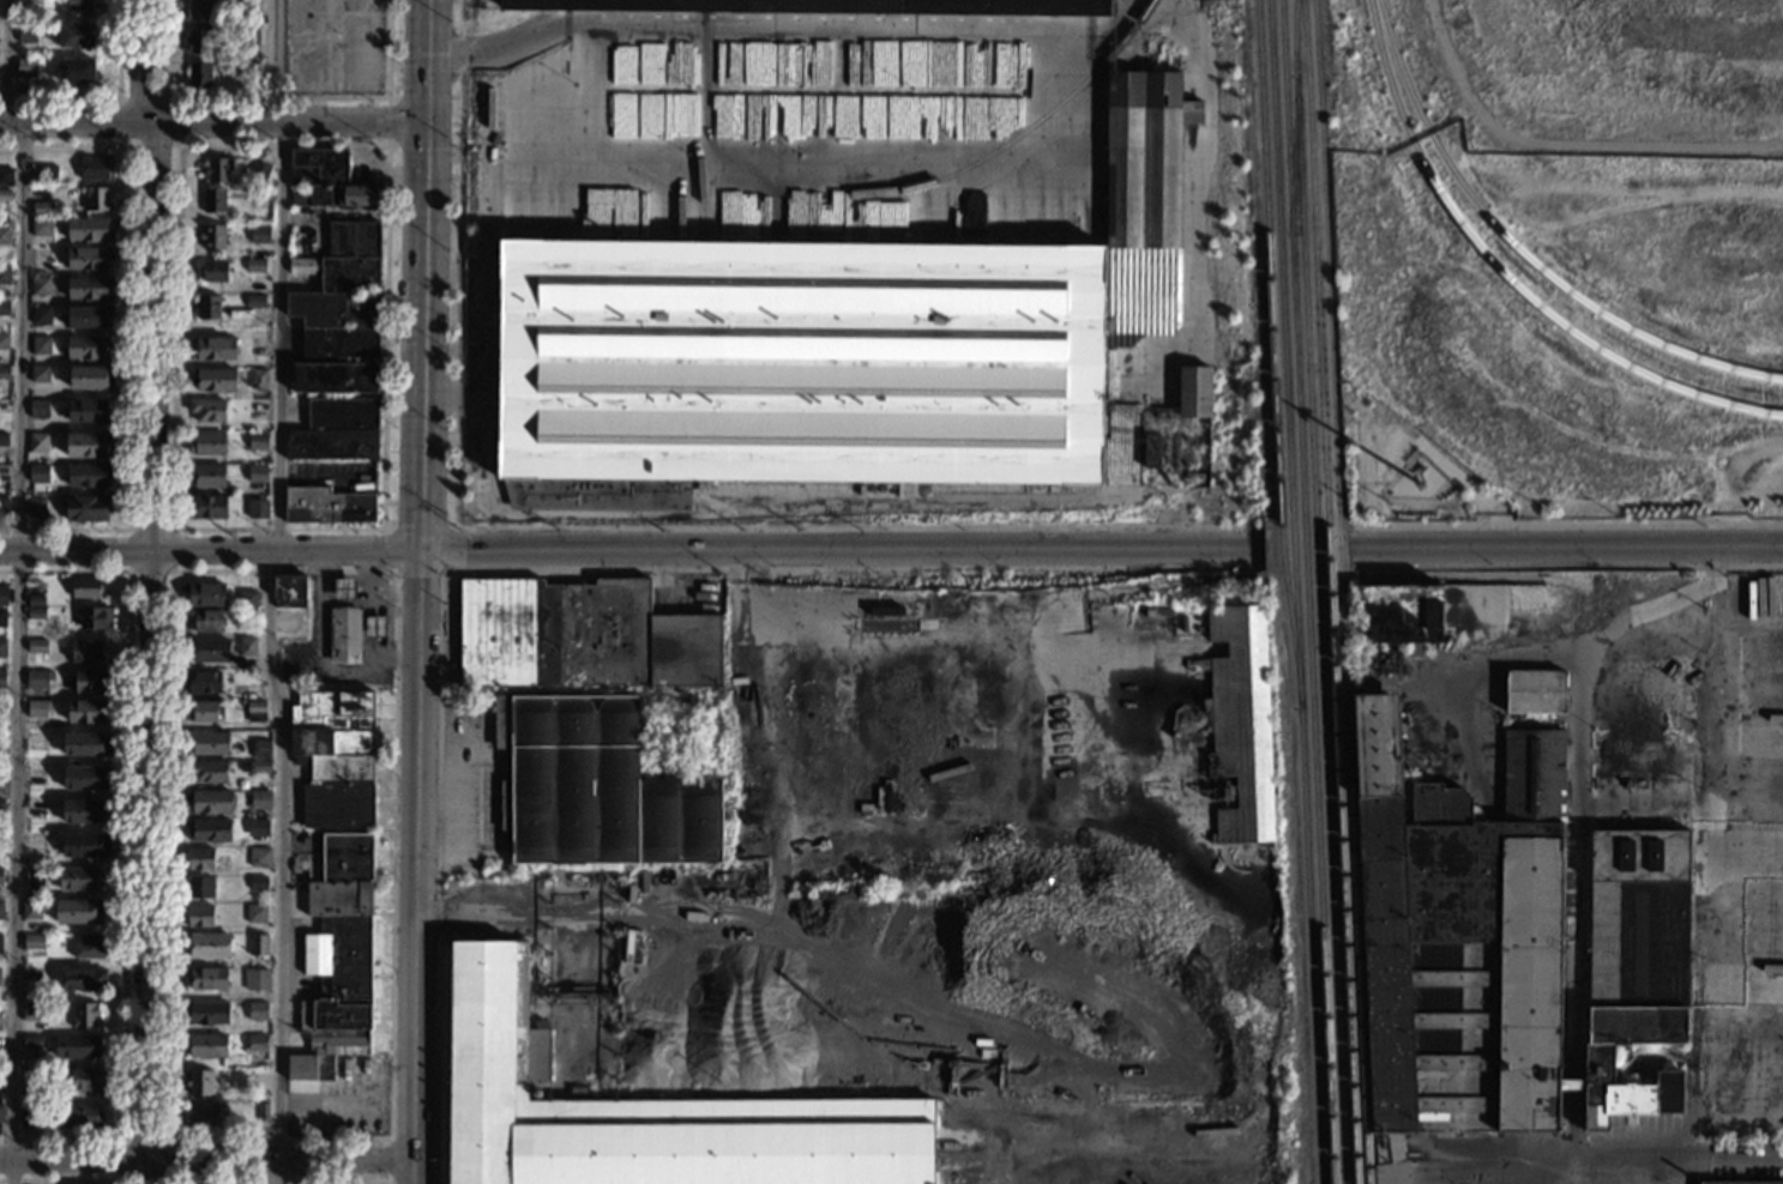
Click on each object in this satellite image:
road: (489, 0)
building: (26, 2)
building: (73, 4)
building: (818, 6)
building: (198, 10)
road: (1114, 24)
building: (25, 32)
road: (1112, 35)
building: (74, 36)
building: (248, 37)
building: (195, 41)
parking lot: (335, 47)
building: (24, 67)
building: (247, 68)
building: (74, 71)
building: (197, 75)
road: (107, 97)
road: (273, 97)
road: (423, 97)
road: (1089, 110)
road: (213, 120)
road: (387, 120)
road: (423, 144)
road: (176, 145)
building: (471, 152)
railway: (1293, 156)
railway: (977, 162)
building: (94, 168)
building: (217, 170)
building: (47, 173)
building: (259, 173)
building: (6, 177)
building: (327, 182)
building: (5, 197)
building: (96, 199)
building: (215, 201)
building: (42, 210)
building: (41, 228)
building: (90, 230)
building: (259, 234)
building: (4, 236)
building: (212, 237)
railway: (1520, 253)
building: (40, 258)
building: (89, 259)
building: (344, 259)
road: (458, 262)
building: (255, 266)
building: (213, 271)
building: (4, 276)
railway: (1506, 277)
building: (40, 286)
building: (90, 288)
building: (255, 302)
road: (489, 303)
building: (209, 307)
building: (5, 309)
building: (333, 309)
building: (41, 316)
building: (89, 316)
road: (132, 334)
building: (4, 342)
building: (338, 344)
building: (40, 346)
building: (258, 348)
building: (835, 348)
building: (90, 349)
building: (212, 349)
railway: (1271, 352)
railway: (1284, 352)
building: (5, 374)
building: (38, 374)
building: (90, 376)
building: (336, 377)
building: (213, 379)
building: (258, 379)
building: (1194, 392)
road: (457, 399)
building: (4, 406)
building: (37, 409)
building: (86, 410)
building: (207, 410)
building: (342, 413)
building: (2, 440)
building: (258, 441)
building: (37, 443)
building: (207, 443)
building: (88, 445)
building: (332, 445)
building: (1151, 452)
building: (2, 471)
building: (38, 473)
building: (89, 475)
building: (257, 475)
building: (207, 476)
building: (327, 506)
building: (4, 507)
building: (35, 507)
building: (206, 507)
building: (85, 508)
building: (257, 509)
road: (1565, 524)
road: (857, 525)
road: (397, 527)
road: (381, 528)
road: (1567, 548)
road: (210, 554)
road: (841, 554)
road: (1566, 568)
road: (544, 570)
road: (129, 572)
road: (394, 572)
building: (86, 587)
road: (17, 590)
building: (344, 590)
road: (150, 591)
road: (267, 591)
road: (420, 591)
railway: (1329, 591)
railway: (1341, 591)
building: (289, 592)
railway: (1307, 592)
railway: (1318, 592)
building: (205, 594)
building: (4, 596)
building: (247, 599)
building: (35, 600)
building: (886, 612)
building: (1403, 612)
building: (36, 614)
building: (246, 615)
building: (2, 617)
building: (95, 618)
building: (205, 621)
building: (375, 627)
building: (554, 633)
building: (344, 636)
building: (37, 646)
building: (246, 647)
building: (2, 648)
building: (209, 650)
building: (88, 651)
building: (685, 651)
building: (2, 678)
building: (37, 678)
building: (90, 681)
building: (204, 683)
building: (1535, 691)
building: (37, 708)
building: (201, 711)
building: (88, 712)
building: (255, 712)
building: (333, 724)
building: (1240, 725)
road: (1719, 725)
building: (36, 742)
building: (209, 743)
building: (86, 745)
building: (261, 748)
building: (259, 767)
building: (206, 772)
building: (2, 773)
building: (86, 778)
building: (596, 787)
building: (339, 792)
building: (260, 799)
building: (207, 803)
building: (1, 805)
building: (84, 810)
building: (257, 829)
building: (209, 830)
building: (35, 841)
building: (85, 845)
road: (126, 852)
building: (259, 857)
building: (348, 857)
building: (200, 859)
building: (1, 877)
building: (79, 878)
building: (255, 883)
building: (200, 888)
building: (31, 910)
building: (1, 911)
building: (79, 911)
building: (255, 913)
building: (199, 916)
building: (32, 942)
building: (0, 944)
railway: (1313, 944)
building: (209, 946)
building: (257, 946)
building: (91, 947)
building: (1504, 947)
building: (0, 972)
building: (31, 978)
building: (336, 978)
building: (206, 979)
building: (257, 979)
building: (83, 980)
building: (31, 1011)
building: (257, 1011)
building: (205, 1013)
building: (85, 1015)
building: (0, 1017)
building: (31, 1041)
building: (257, 1043)
building: (206, 1046)
building: (77, 1047)
building: (31, 1077)
building: (88, 1079)
building: (200, 1082)
building: (633, 1110)
building: (263, 1112)
building: (1, 1113)
building: (79, 1116)
building: (29, 1117)
building: (204, 1117)
road: (1741, 1136)
road: (1679, 1155)
road: (390, 1159)
road: (205, 1165)
road: (164, 1180)
road: (276, 1180)
road: (62, 1182)
building: (1607, 1183)
building: (1736, 1183)

